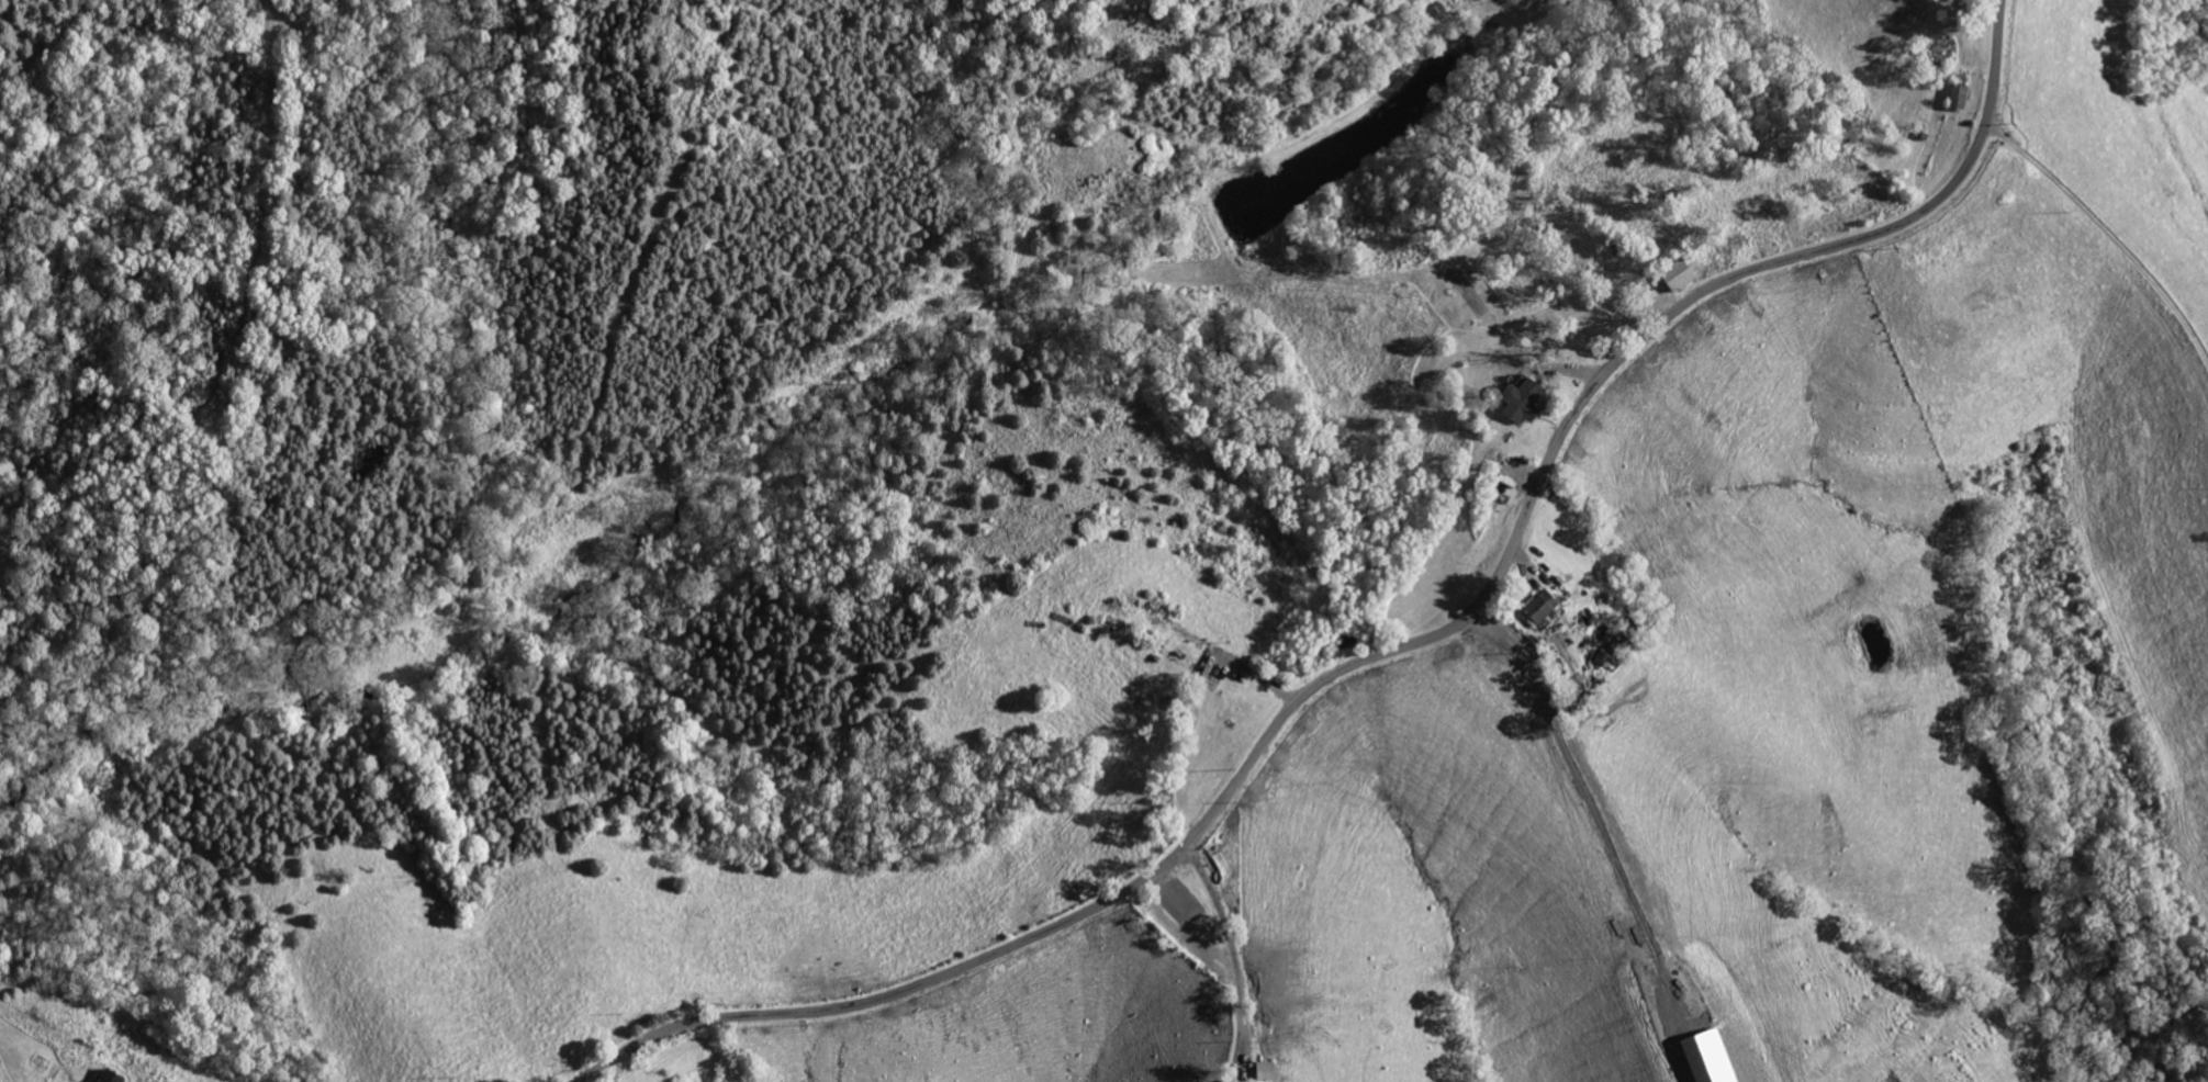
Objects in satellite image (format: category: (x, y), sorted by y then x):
building: (1959, 97)
road: (2106, 233)
building: (1680, 275)
building: (1523, 399)
building: (1540, 608)
road: (1396, 649)
road: (1595, 833)
road: (1234, 953)
building: (111, 1077)

